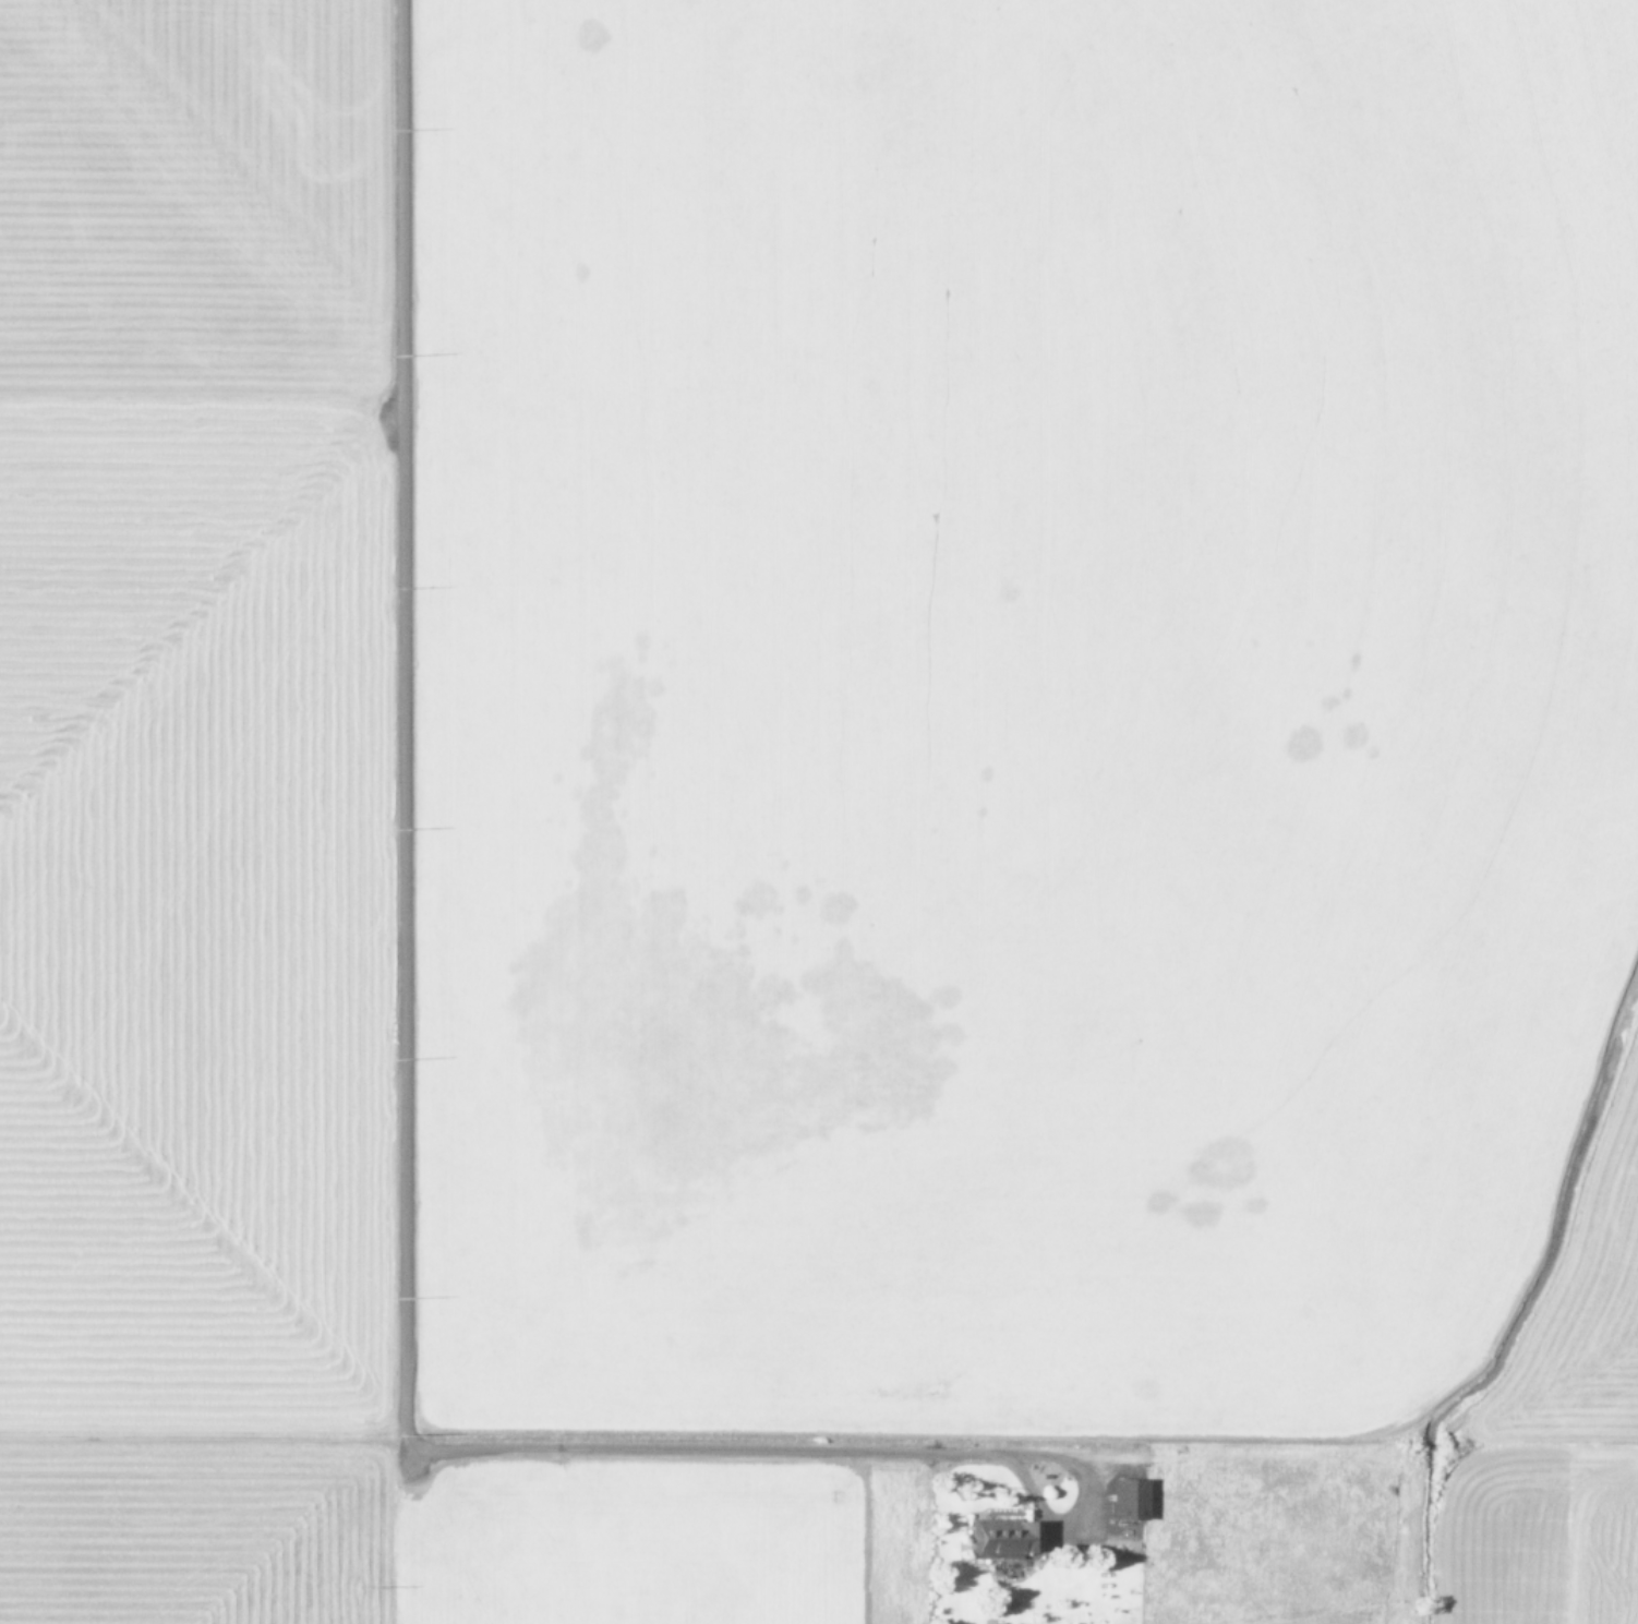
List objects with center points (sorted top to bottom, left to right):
crop: (819, 811)
road: (407, 1018)
building: (1129, 1499)
road: (1080, 1504)

